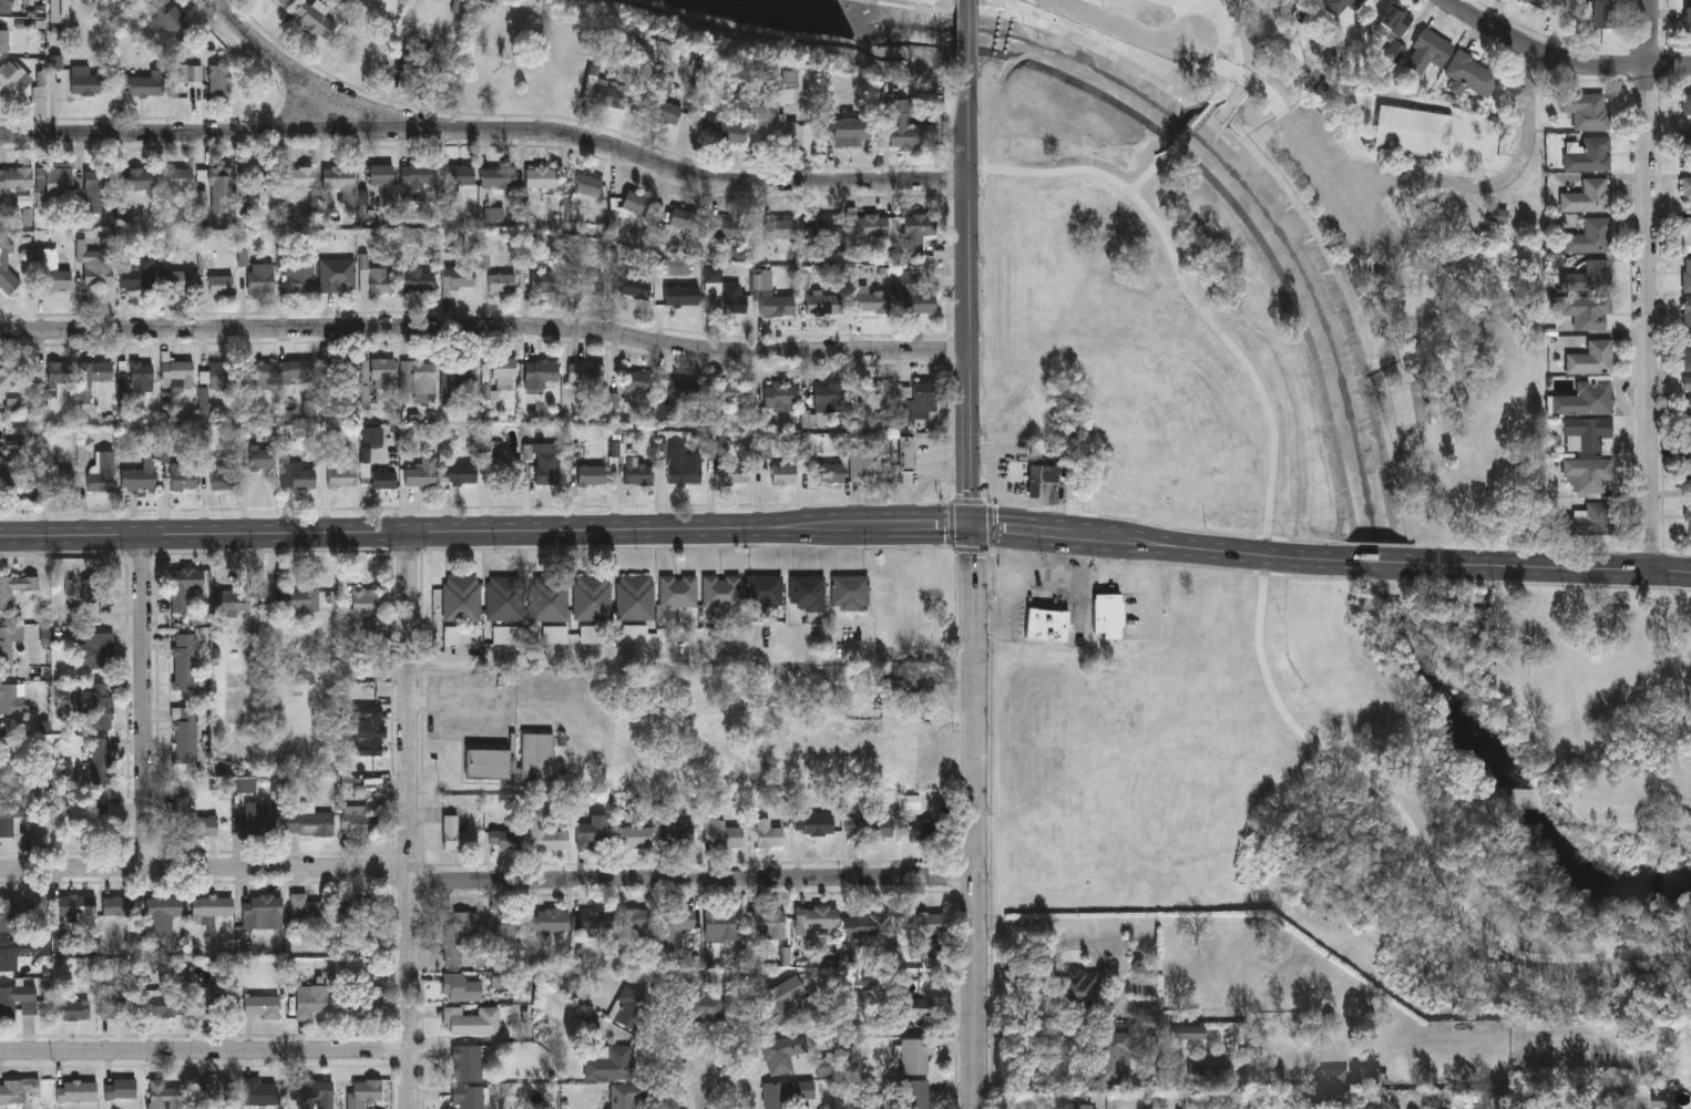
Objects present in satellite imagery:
building: (1528, 1)
building: (285, 2)
road: (1162, 2)
building: (1341, 4)
building: (7, 6)
building: (1602, 16)
building: (172, 17)
building: (316, 17)
park: (836, 20)
building: (1688, 21)
road: (1125, 29)
building: (1393, 31)
road: (969, 32)
building: (369, 41)
road: (1238, 43)
building: (1428, 52)
road: (1562, 59)
road: (279, 60)
building: (10, 68)
building: (192, 72)
building: (561, 74)
building: (1470, 75)
road: (1243, 79)
building: (85, 80)
building: (219, 80)
building: (496, 80)
building: (137, 83)
building: (609, 94)
building: (662, 99)
building: (1687, 103)
building: (1587, 111)
building: (779, 112)
building: (909, 127)
road: (1190, 129)
road: (489, 130)
building: (847, 130)
building: (722, 131)
building: (1412, 131)
building: (1688, 154)
building: (1590, 156)
building: (382, 173)
building: (420, 174)
building: (221, 175)
building: (258, 175)
building: (463, 175)
building: (300, 176)
building: (499, 176)
road: (1145, 176)
building: (544, 177)
building: (137, 178)
building: (14, 179)
building: (181, 181)
building: (341, 182)
road: (1504, 182)
building: (590, 185)
building: (54, 186)
building: (96, 188)
building: (1688, 194)
building: (1588, 197)
building: (637, 199)
building: (685, 218)
building: (868, 227)
building: (727, 228)
building: (780, 228)
building: (826, 228)
building: (919, 230)
building: (1687, 234)
building: (1591, 237)
road: (1394, 245)
building: (7, 260)
building: (95, 265)
building: (137, 271)
building: (54, 273)
building: (338, 274)
building: (1687, 275)
building: (301, 276)
building: (260, 277)
building: (1590, 277)
building: (180, 278)
building: (420, 278)
building: (379, 279)
building: (459, 279)
building: (540, 279)
building: (502, 281)
building: (588, 281)
building: (221, 283)
building: (635, 286)
road: (1642, 286)
building: (728, 291)
building: (914, 294)
building: (683, 295)
building: (872, 298)
building: (826, 301)
building: (777, 302)
building: (1588, 310)
building: (1687, 312)
road: (485, 326)
building: (1687, 352)
building: (1592, 358)
building: (503, 366)
building: (298, 369)
building: (59, 370)
building: (98, 371)
building: (176, 371)
building: (540, 371)
building: (457, 372)
building: (586, 372)
building: (222, 373)
building: (263, 373)
building: (337, 373)
building: (141, 374)
building: (7, 376)
building: (375, 376)
building: (421, 378)
building: (639, 379)
building: (731, 390)
building: (1688, 392)
building: (879, 393)
building: (676, 394)
building: (780, 394)
building: (830, 394)
building: (918, 398)
building: (1586, 399)
building: (1589, 430)
building: (1688, 433)
building: (906, 452)
building: (262, 456)
building: (862, 462)
building: (1688, 468)
building: (683, 469)
building: (637, 470)
building: (297, 471)
building: (422, 471)
building: (506, 471)
building: (736, 471)
building: (830, 471)
building: (102, 472)
building: (224, 472)
building: (460, 472)
building: (547, 472)
building: (785, 472)
building: (1588, 472)
building: (8, 473)
building: (341, 473)
building: (592, 473)
building: (140, 474)
road: (1012, 474)
building: (60, 475)
building: (182, 475)
road: (953, 475)
road: (933, 476)
building: (1041, 476)
building: (385, 478)
road: (969, 502)
road: (1008, 511)
road: (1044, 511)
building: (1689, 518)
building: (1589, 520)
road: (951, 525)
road: (991, 526)
traffic signals: (974, 527)
road: (486, 531)
road: (1164, 544)
road: (972, 550)
road: (1386, 562)
road: (1555, 568)
building: (184, 586)
road: (974, 586)
building: (16, 588)
building: (94, 591)
building: (677, 591)
building: (721, 591)
building: (765, 591)
building: (807, 593)
building: (851, 593)
building: (593, 597)
building: (635, 597)
building: (462, 598)
building: (505, 598)
building: (549, 598)
building: (301, 600)
building: (232, 603)
road: (1261, 607)
park: (1273, 610)
building: (367, 612)
building: (1108, 615)
building: (1474, 620)
building: (1047, 624)
building: (99, 649)
building: (7, 650)
building: (184, 661)
road: (693, 663)
road: (145, 700)
building: (11, 701)
building: (94, 707)
building: (372, 729)
building: (185, 735)
building: (537, 757)
building: (8, 759)
building: (103, 760)
building: (488, 764)
building: (912, 800)
building: (100, 818)
building: (260, 818)
road: (410, 820)
building: (7, 821)
building: (194, 821)
building: (360, 822)
building: (813, 822)
building: (309, 823)
building: (869, 825)
building: (915, 828)
building: (544, 830)
building: (591, 830)
building: (677, 831)
building: (767, 831)
building: (719, 832)
building: (455, 834)
building: (503, 835)
building: (634, 835)
road: (486, 881)
building: (76, 905)
building: (119, 905)
building: (357, 905)
building: (213, 907)
building: (305, 908)
building: (263, 912)
building: (11, 913)
building: (161, 915)
building: (817, 915)
building: (593, 918)
building: (549, 920)
building: (639, 920)
building: (502, 922)
building: (718, 924)
building: (768, 925)
building: (868, 925)
building: (674, 926)
building: (922, 930)
building: (458, 932)
building: (8, 956)
building: (462, 986)
building: (1079, 990)
building: (209, 998)
building: (701, 998)
building: (778, 998)
building: (116, 1000)
building: (17, 1002)
building: (310, 1002)
building: (366, 1004)
building: (164, 1006)
building: (262, 1007)
building: (915, 1007)
building: (631, 1008)
building: (72, 1010)
building: (472, 1020)
building: (1187, 1033)
road: (206, 1049)
building: (781, 1051)
building: (914, 1055)
building: (1109, 1059)
building: (467, 1060)
building: (608, 1061)
building: (1364, 1077)
building: (1332, 1078)
building: (120, 1089)
building: (214, 1089)
building: (18, 1091)
building: (78, 1092)
building: (260, 1092)
building: (363, 1092)
building: (786, 1092)
building: (312, 1093)
road: (705, 1093)
building: (912, 1093)
building: (163, 1096)
building: (467, 1096)
building: (625, 1096)
building: (1082, 1107)

